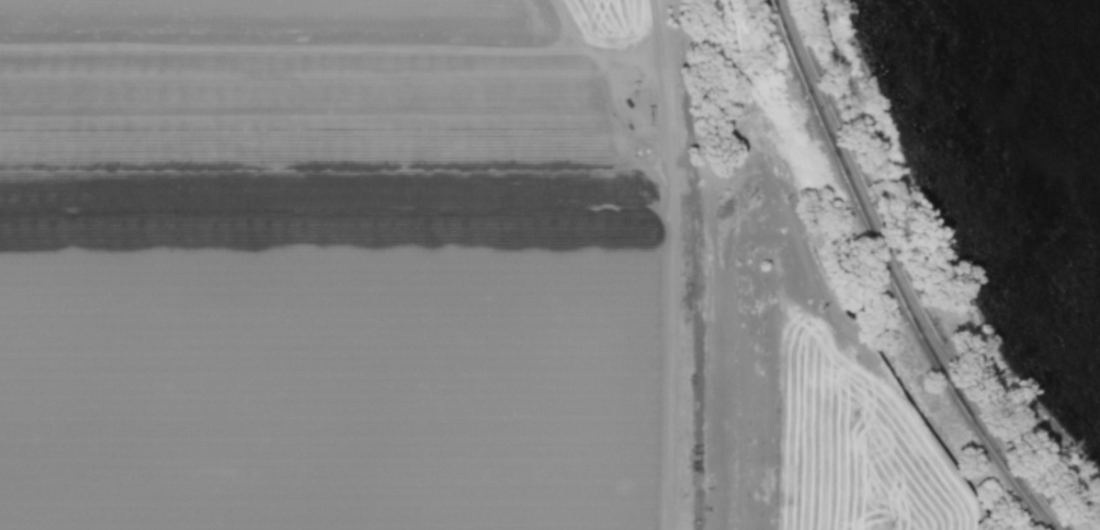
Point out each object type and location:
river: (1074, 81)
road: (894, 277)

